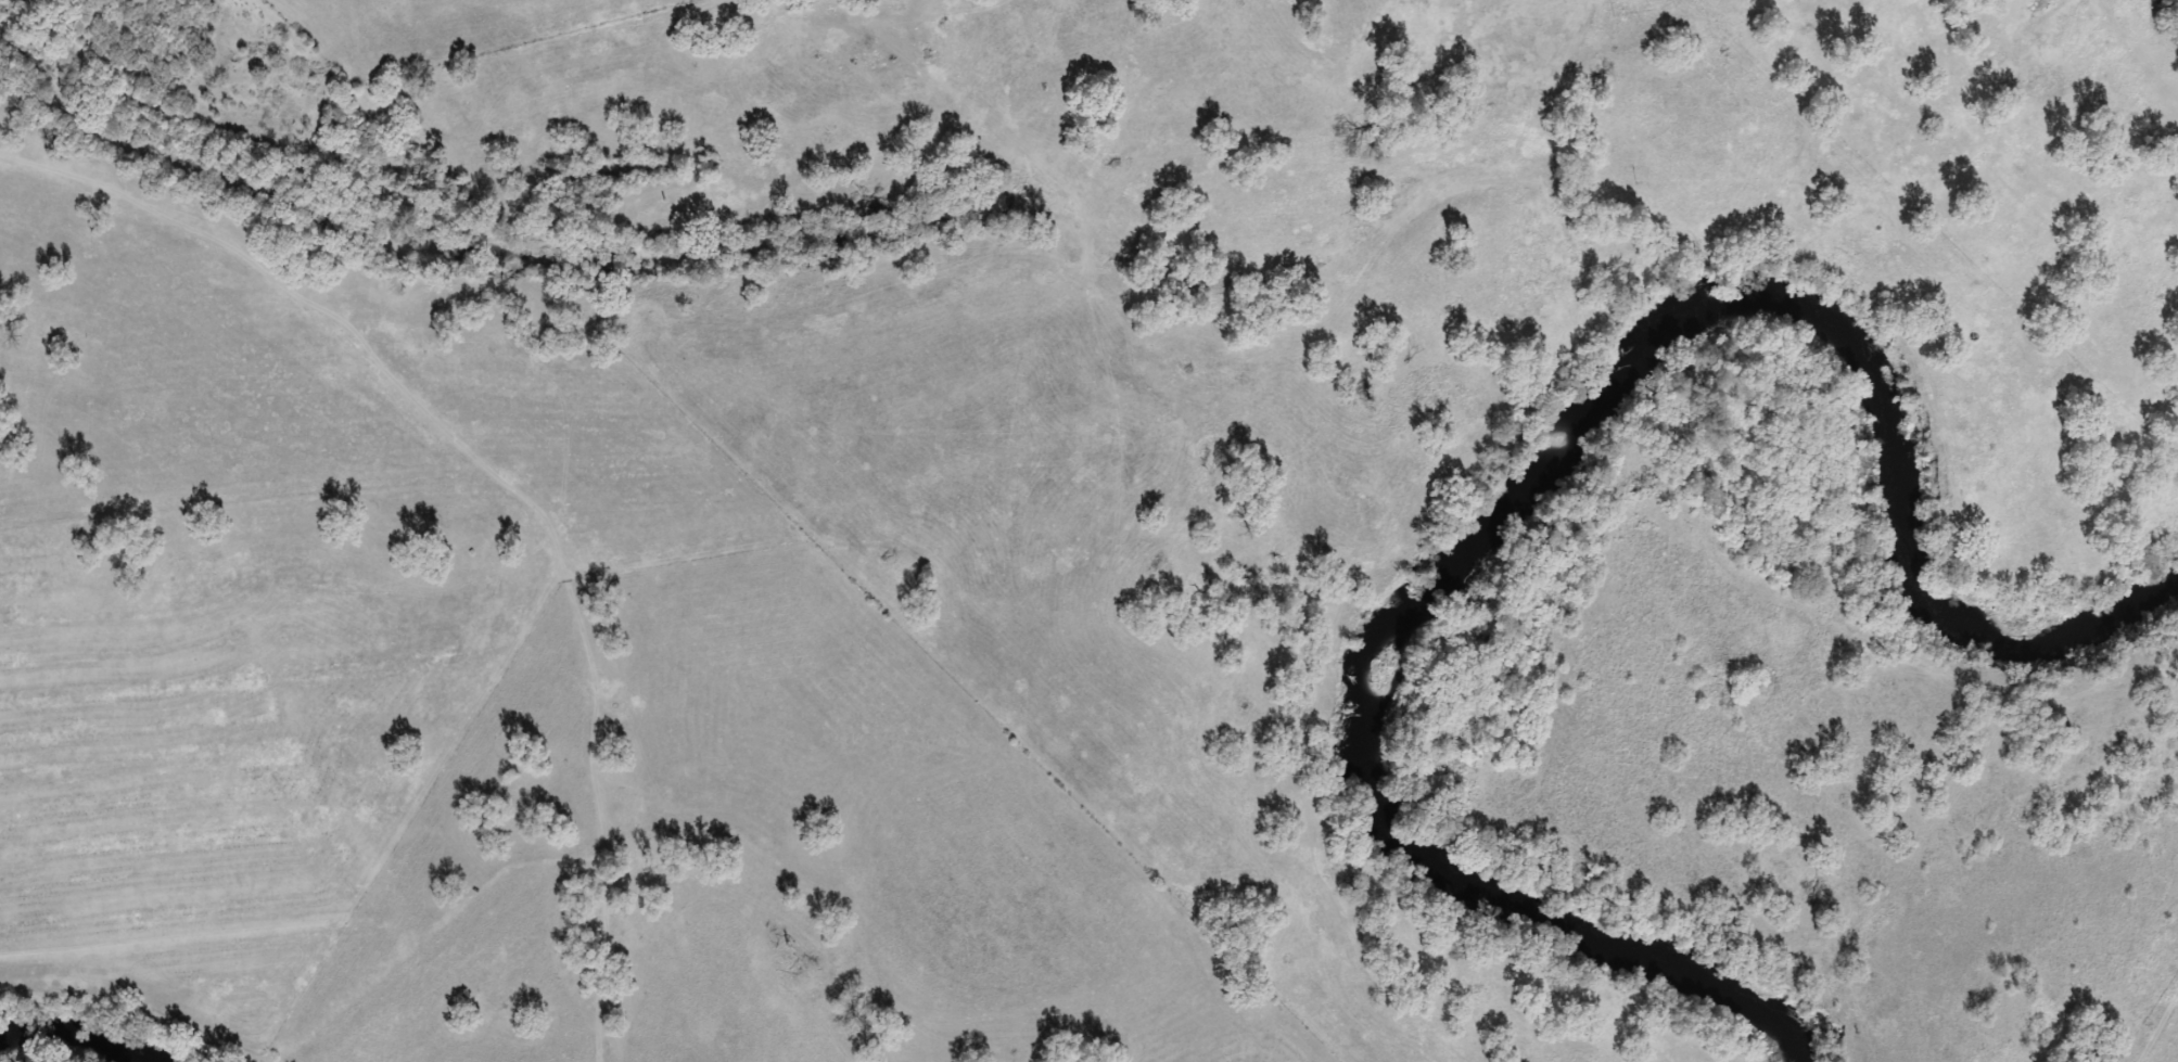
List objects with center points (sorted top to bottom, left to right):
river: (1537, 478)
river: (60, 1059)

